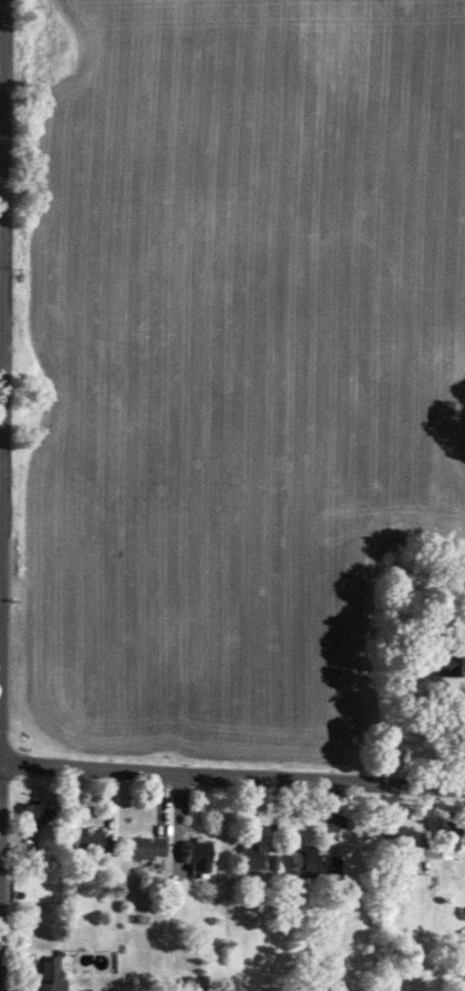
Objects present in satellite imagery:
road: (2, 250)
road: (3, 327)
road: (0, 548)
building: (451, 661)
road: (232, 775)
building: (35, 814)
building: (447, 829)
building: (89, 844)
building: (141, 850)
building: (196, 858)
building: (254, 859)
building: (311, 862)
building: (141, 910)
building: (182, 962)
building: (47, 975)
building: (340, 988)

